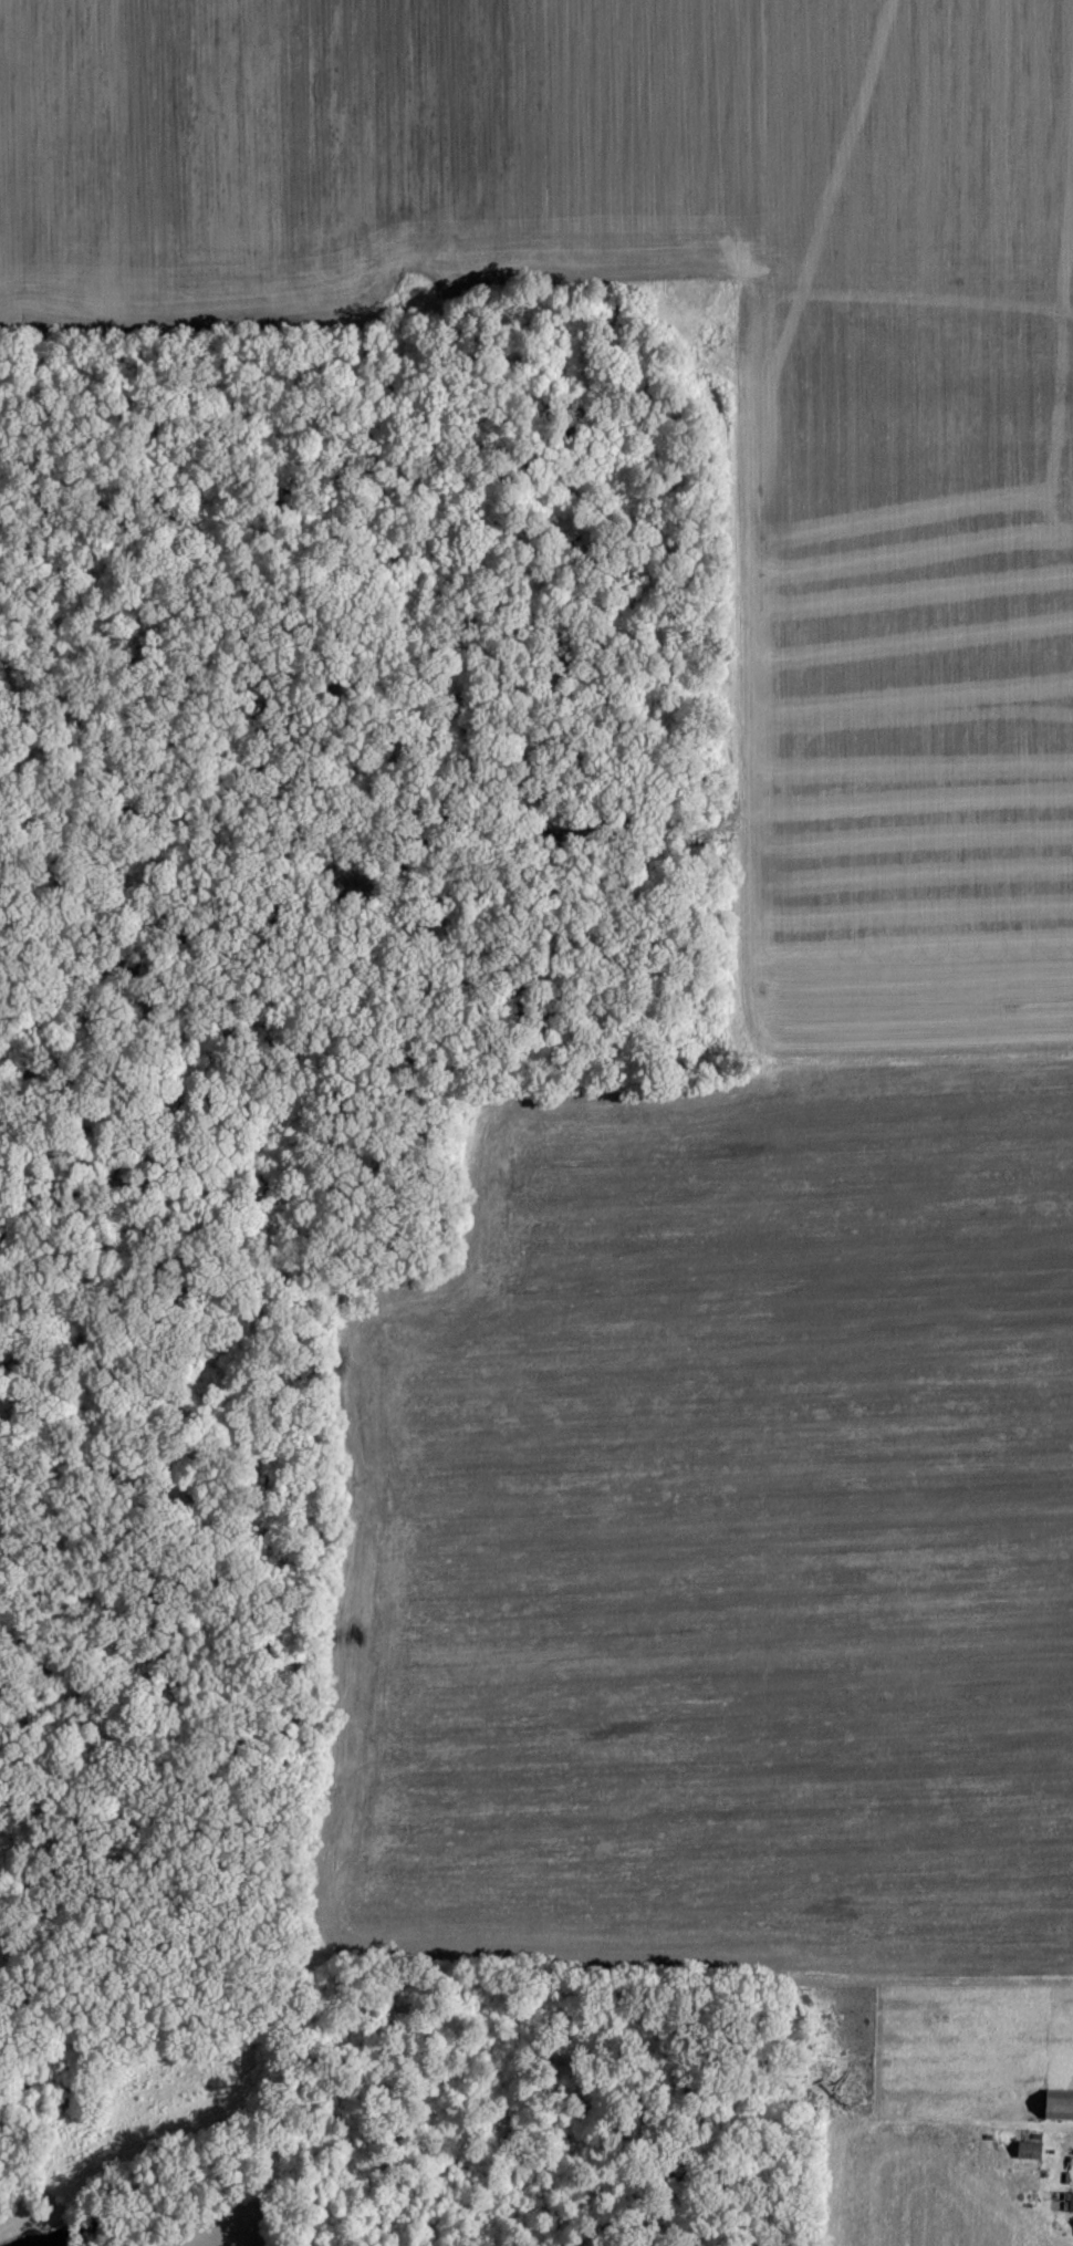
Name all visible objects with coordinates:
road: (1064, 2102)
building: (1059, 2104)
building: (1028, 2150)
building: (1071, 2206)

